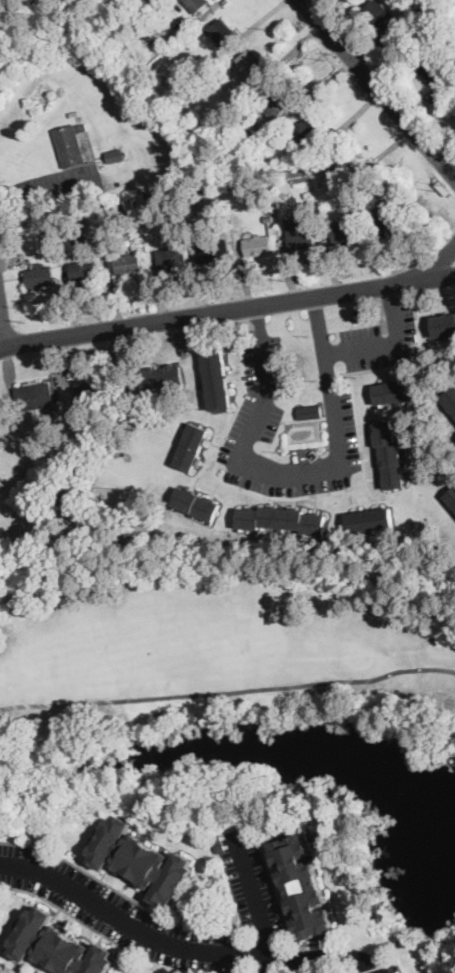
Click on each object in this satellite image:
building: (195, 4)
building: (377, 11)
building: (398, 16)
building: (101, 27)
building: (221, 32)
building: (147, 41)
power tower: (328, 54)
building: (249, 68)
building: (427, 68)
building: (206, 71)
road: (378, 89)
building: (276, 101)
building: (253, 132)
building: (308, 136)
building: (196, 138)
building: (70, 144)
building: (115, 155)
building: (338, 166)
power tower: (441, 187)
road: (49, 189)
building: (232, 190)
building: (335, 196)
building: (308, 204)
building: (100, 206)
building: (357, 212)
building: (116, 215)
building: (268, 218)
building: (388, 223)
building: (74, 233)
building: (345, 233)
building: (300, 235)
building: (48, 236)
building: (258, 246)
building: (214, 251)
building: (171, 257)
road: (434, 263)
building: (127, 264)
building: (82, 271)
building: (39, 276)
road: (433, 276)
building: (111, 281)
road: (391, 298)
road: (205, 313)
building: (358, 314)
road: (258, 318)
road: (319, 324)
building: (444, 325)
road: (3, 327)
building: (160, 377)
building: (217, 379)
building: (96, 390)
building: (397, 391)
building: (34, 396)
building: (450, 399)
building: (1, 403)
building: (310, 412)
building: (191, 447)
building: (390, 455)
road: (333, 467)
building: (0, 479)
building: (1, 483)
building: (451, 497)
building: (195, 504)
building: (280, 519)
building: (368, 520)
park: (208, 645)
building: (141, 861)
building: (302, 886)
road: (257, 901)
road: (181, 945)
building: (58, 946)
road: (376, 970)

